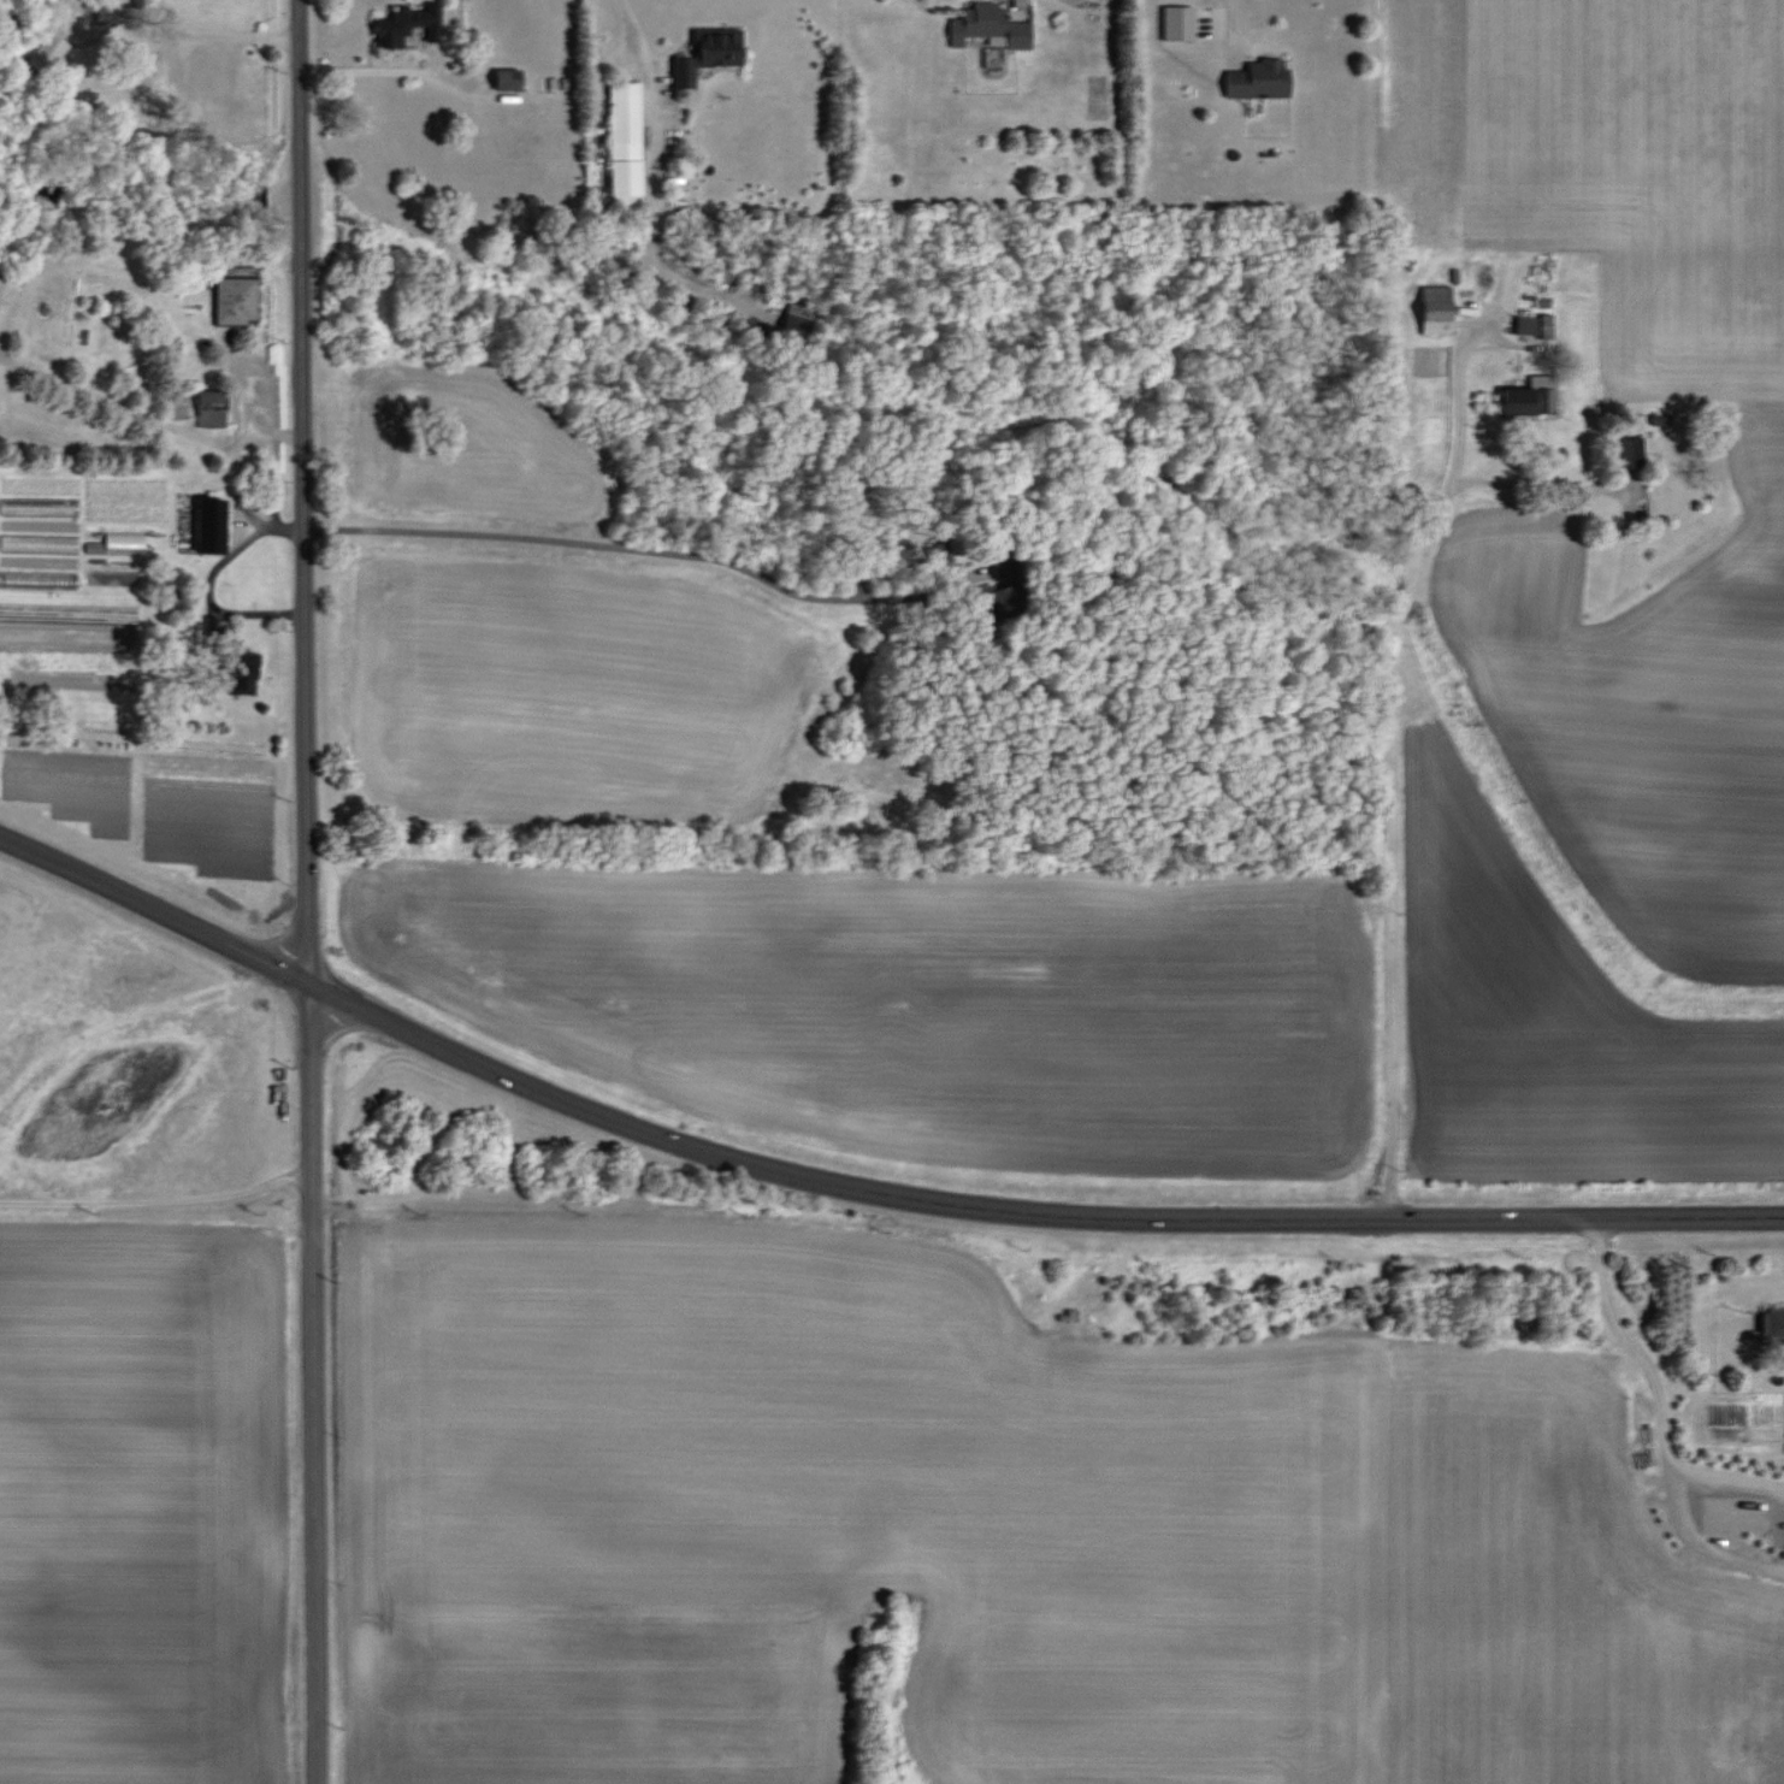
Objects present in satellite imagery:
building: (1100, 0)
building: (118, 11)
building: (1175, 23)
road: (1229, 24)
building: (407, 25)
building: (990, 26)
building: (46, 53)
building: (708, 54)
road: (365, 71)
building: (506, 78)
building: (1259, 81)
building: (625, 143)
crop: (1608, 165)
road: (649, 185)
building: (0, 280)
building: (235, 296)
building: (796, 321)
building: (1526, 326)
building: (224, 333)
building: (1534, 397)
building: (211, 408)
road: (247, 412)
road: (1534, 483)
road: (302, 489)
building: (39, 507)
building: (208, 526)
building: (123, 542)
building: (39, 543)
road: (644, 550)
building: (37, 580)
road: (207, 581)
building: (987, 603)
building: (211, 625)
crop: (553, 631)
building: (237, 674)
road: (1390, 770)
crop: (1595, 855)
traffic signals: (306, 979)
crop: (925, 998)
road: (856, 1188)
road: (155, 1200)
building: (1773, 1324)
road: (309, 1381)
road: (1658, 1393)
crop: (144, 1499)
crop: (829, 1520)

